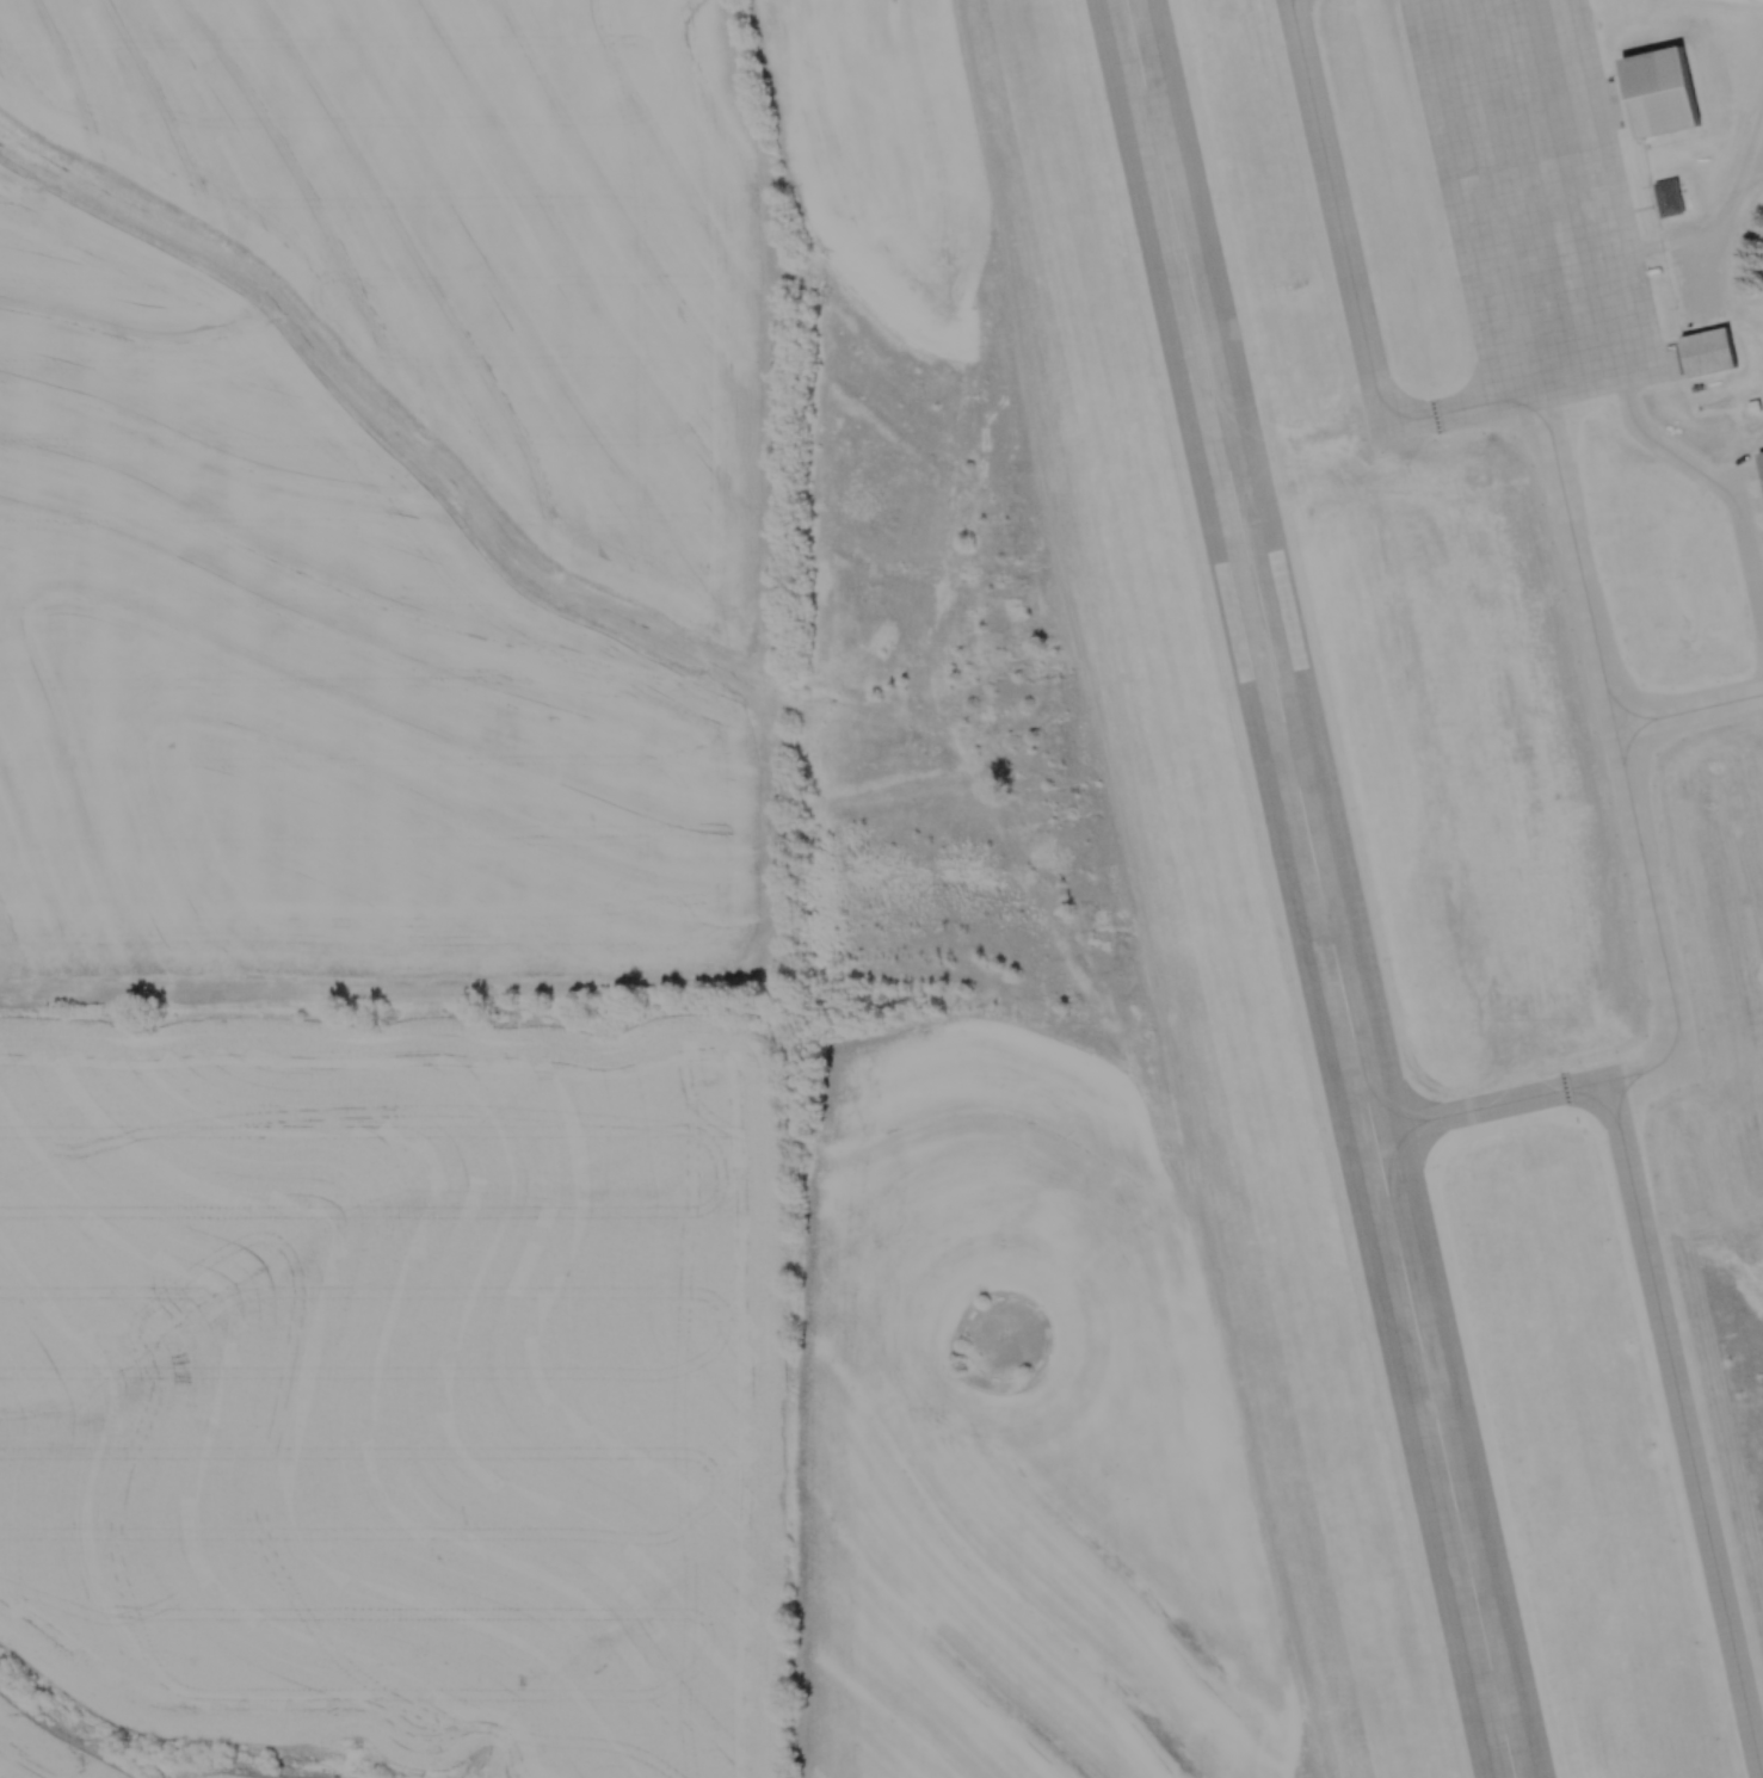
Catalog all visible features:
airport hangar: (1660, 89)
building: (1660, 89)
road: (1758, 153)
road: (1651, 171)
road: (1740, 179)
airport taxiway: (1602, 191)
airport taxiway: (1469, 197)
airport apron: (1536, 199)
airport terminal: (1675, 200)
building: (1675, 200)
road: (1645, 206)
airport taxiway: (1338, 210)
road: (1660, 215)
parking lot: (1696, 270)
airport hangar: (1709, 351)
building: (1709, 351)
airport taxiway: (1435, 410)
airport taxiway: (1648, 431)
building: (1597, 591)
building: (1620, 694)
airport taxiway: (1684, 703)
airport taxiway: (1615, 770)
building: (1642, 796)
airport runway: (1324, 888)
airport taxiway: (1662, 1322)

